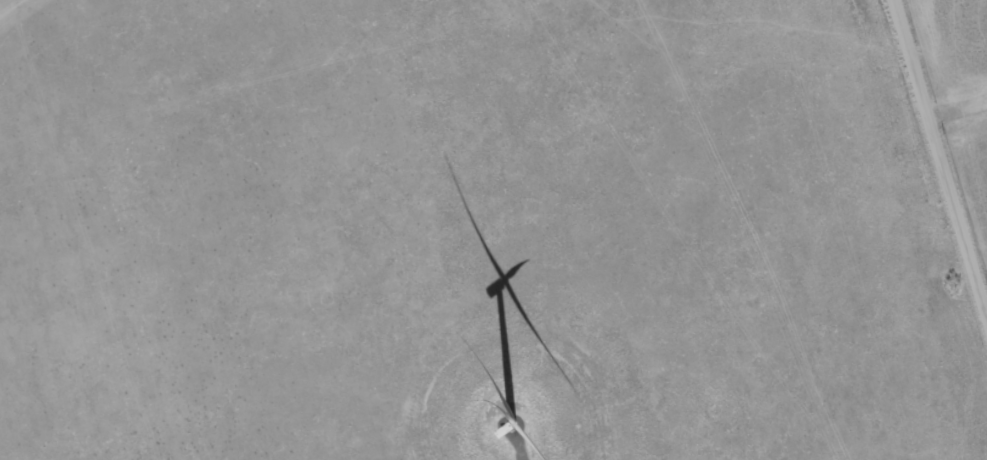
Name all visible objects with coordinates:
road: (941, 156)
wind turbine: (512, 433)

